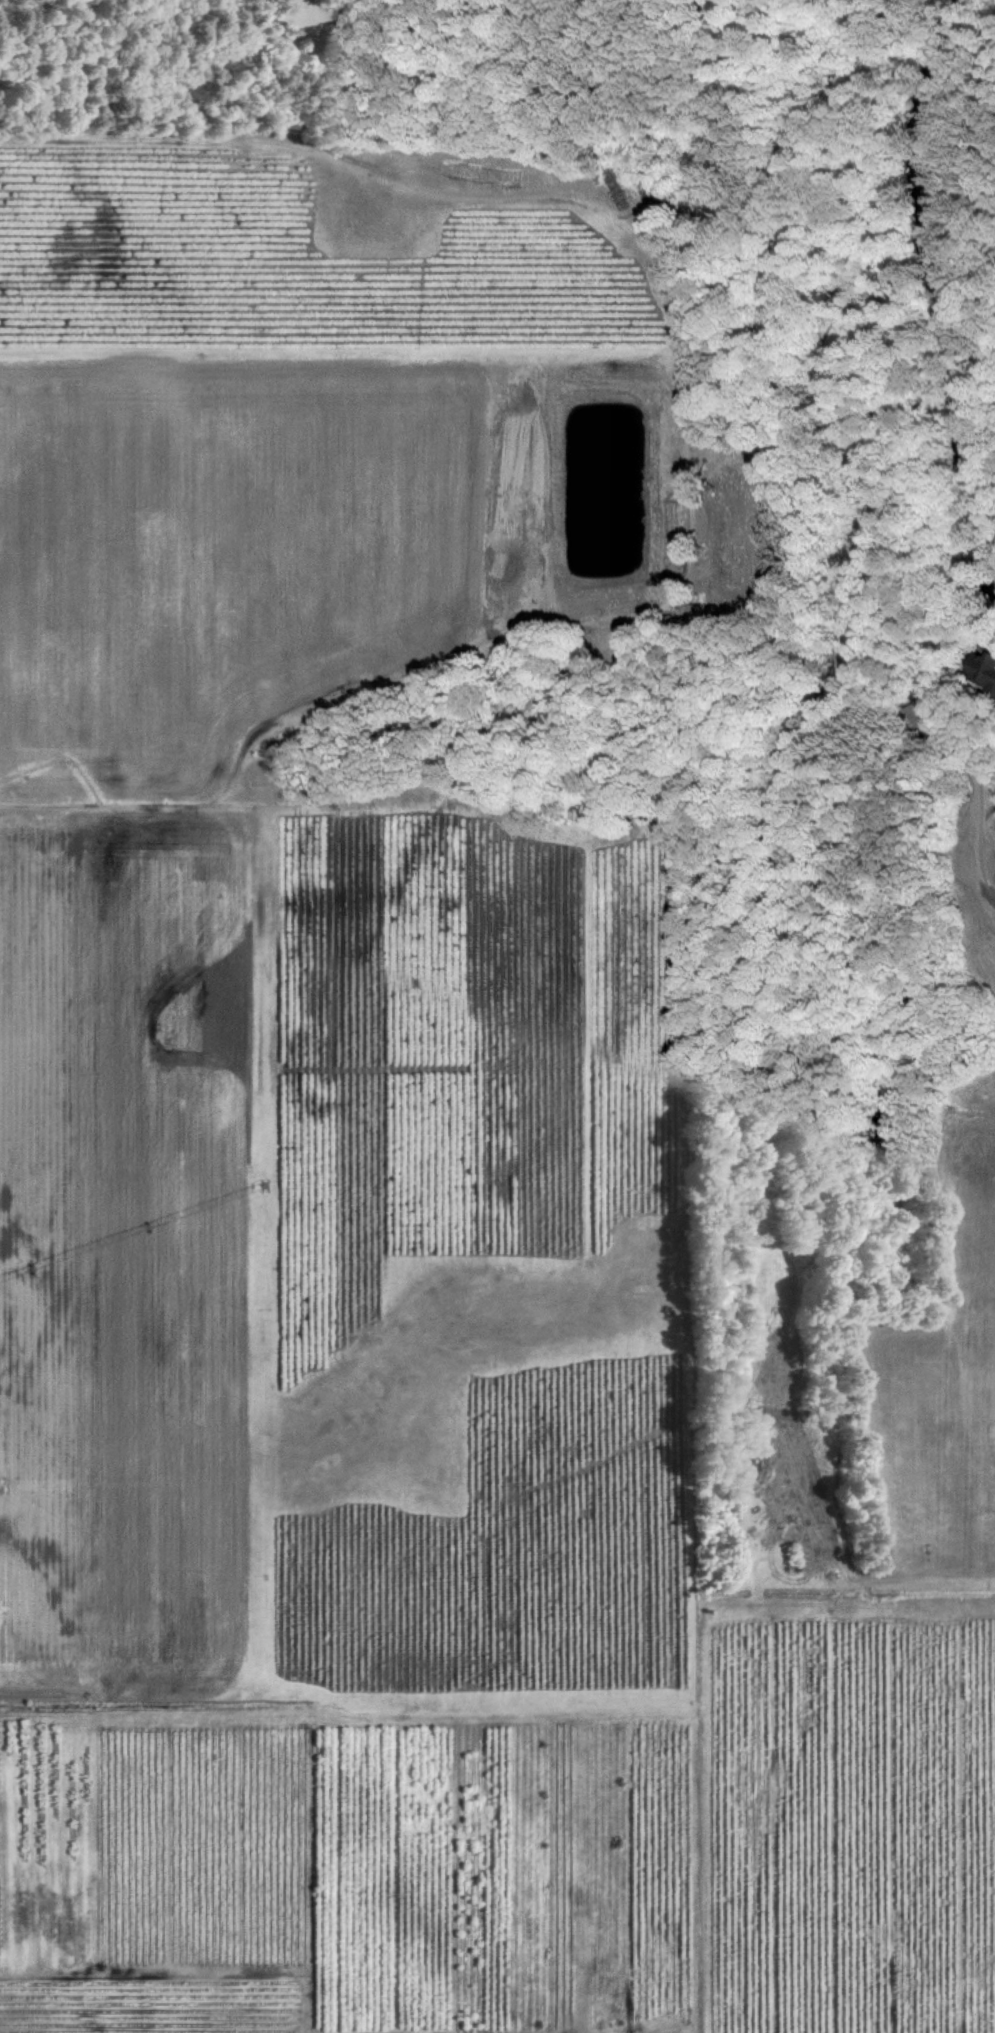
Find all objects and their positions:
river: (932, 289)
building: (984, 670)
building: (923, 712)
road: (974, 760)
road: (985, 807)
road: (975, 862)

